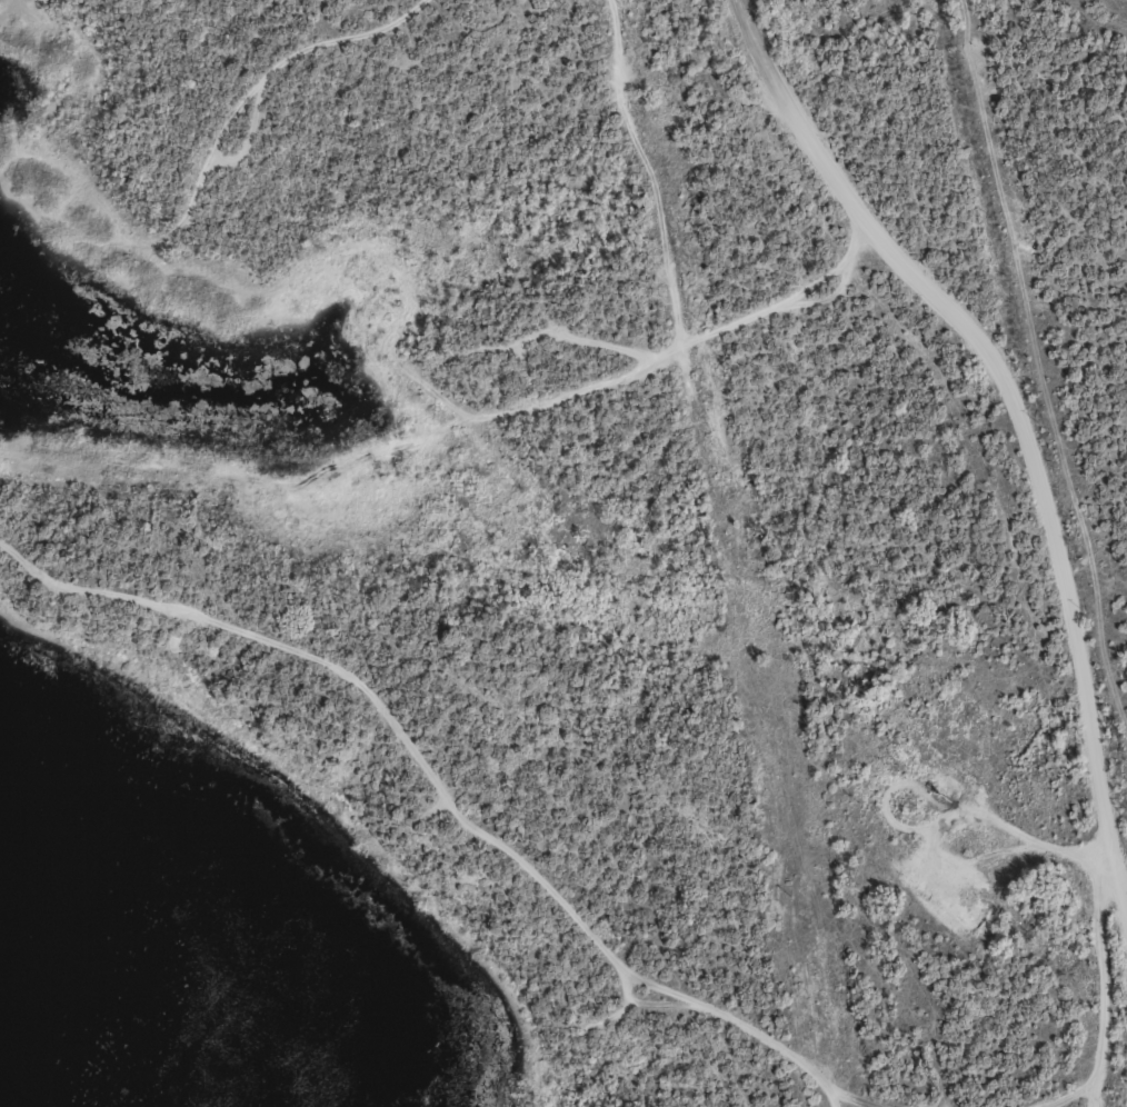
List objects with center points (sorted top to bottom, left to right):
road: (341, 12)
road: (252, 72)
road: (600, 166)
road: (433, 422)
road: (1005, 517)
road: (522, 872)

